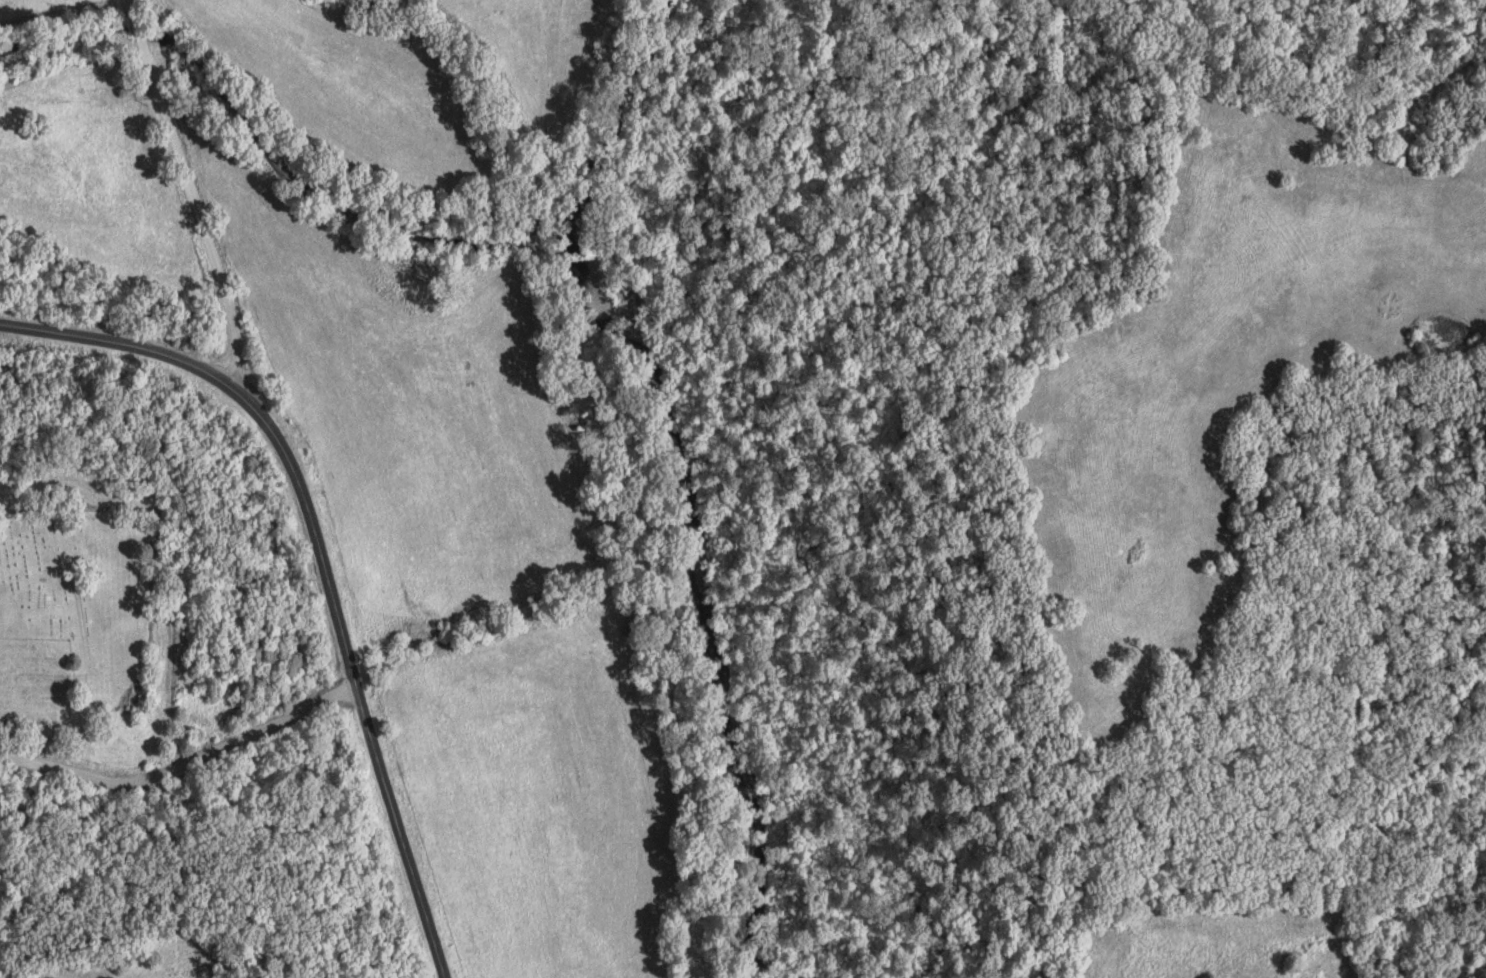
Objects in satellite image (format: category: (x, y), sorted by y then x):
building: (84, 85)
building: (56, 112)
road: (189, 194)
road: (319, 558)
park: (74, 576)
road: (181, 767)

